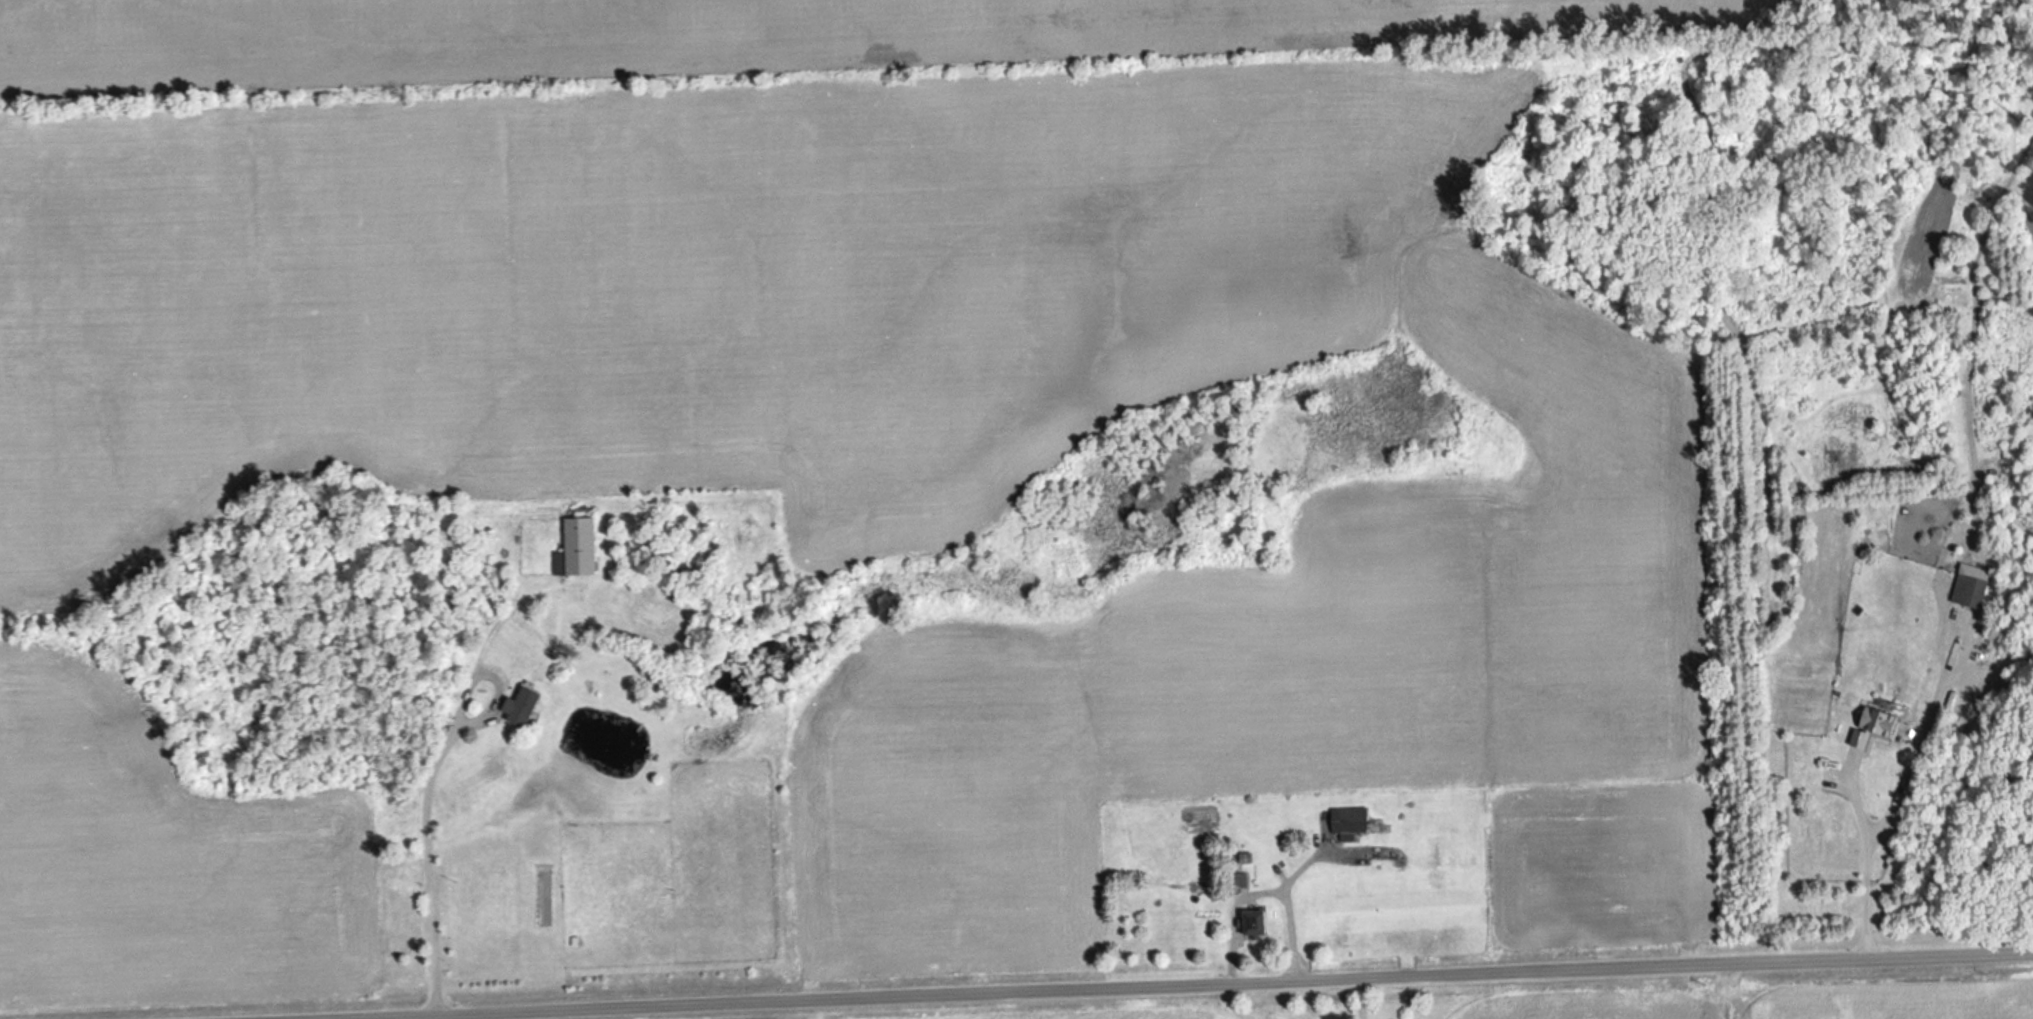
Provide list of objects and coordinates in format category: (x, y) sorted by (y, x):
building: (580, 547)
building: (1973, 590)
building: (528, 706)
building: (1880, 725)
building: (1353, 820)
building: (1261, 923)
road: (1151, 985)

